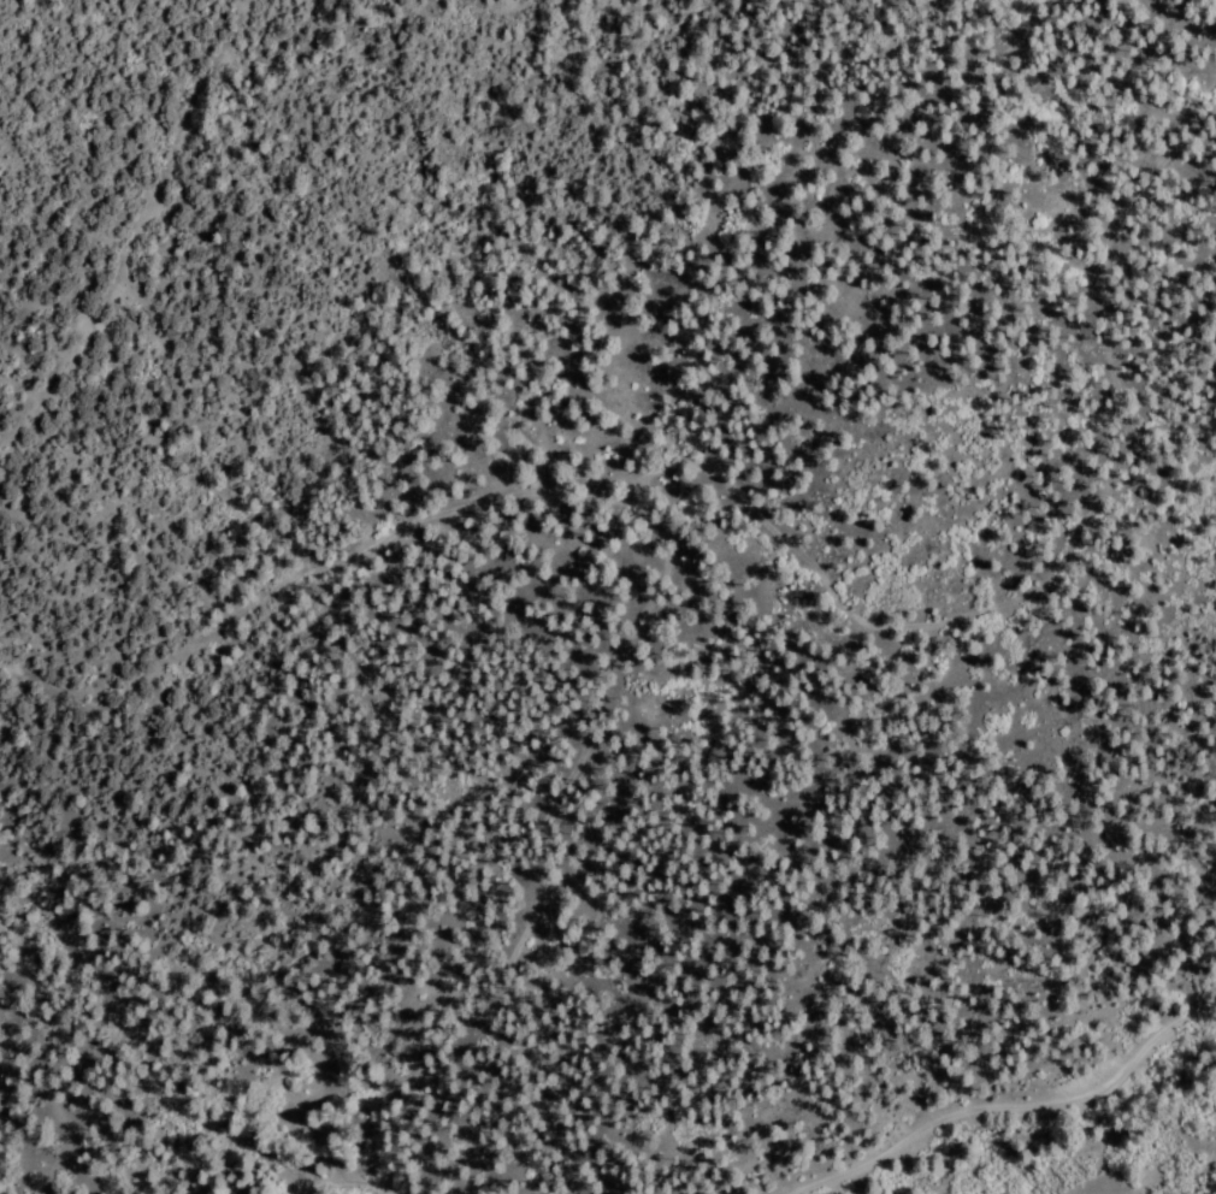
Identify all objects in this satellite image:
road: (169, 238)
road: (811, 552)
road: (683, 1155)

